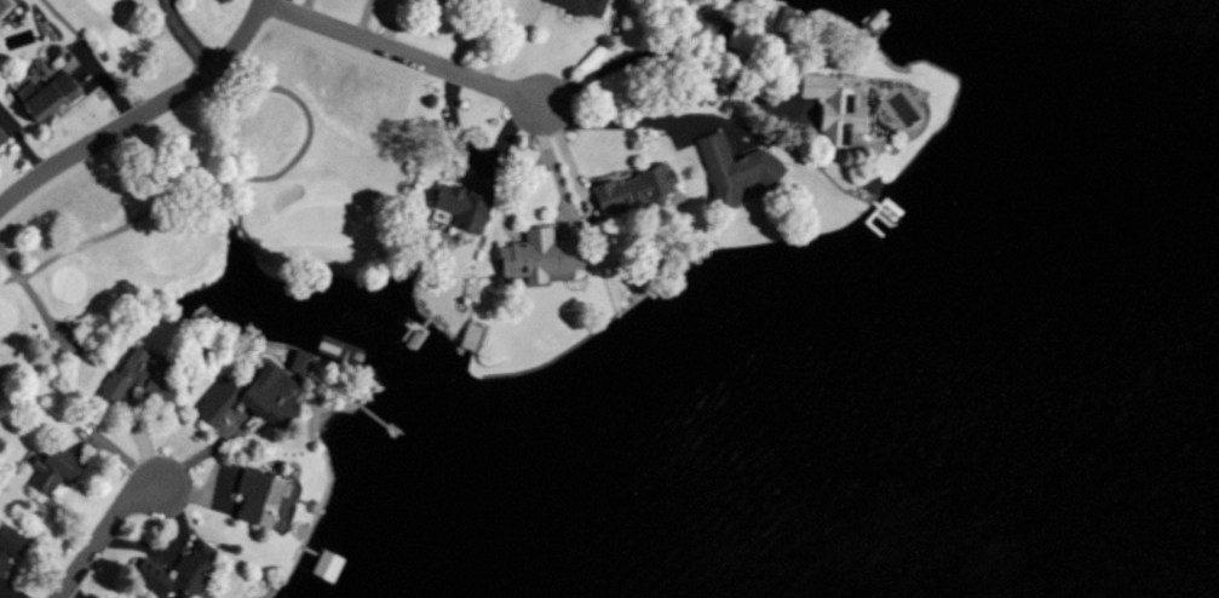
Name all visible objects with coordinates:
building: (583, 5)
road: (303, 7)
road: (146, 18)
road: (363, 18)
road: (184, 36)
building: (743, 36)
road: (402, 53)
road: (652, 56)
building: (48, 92)
building: (836, 103)
building: (903, 108)
road: (142, 113)
road: (626, 121)
building: (2, 136)
road: (475, 157)
building: (735, 167)
road: (217, 173)
building: (636, 188)
building: (465, 201)
park: (195, 241)
building: (540, 257)
road: (27, 287)
building: (301, 360)
building: (140, 375)
building: (248, 395)
building: (57, 467)
building: (261, 495)
road: (103, 534)
building: (10, 546)
building: (327, 563)
building: (179, 571)
building: (113, 597)

